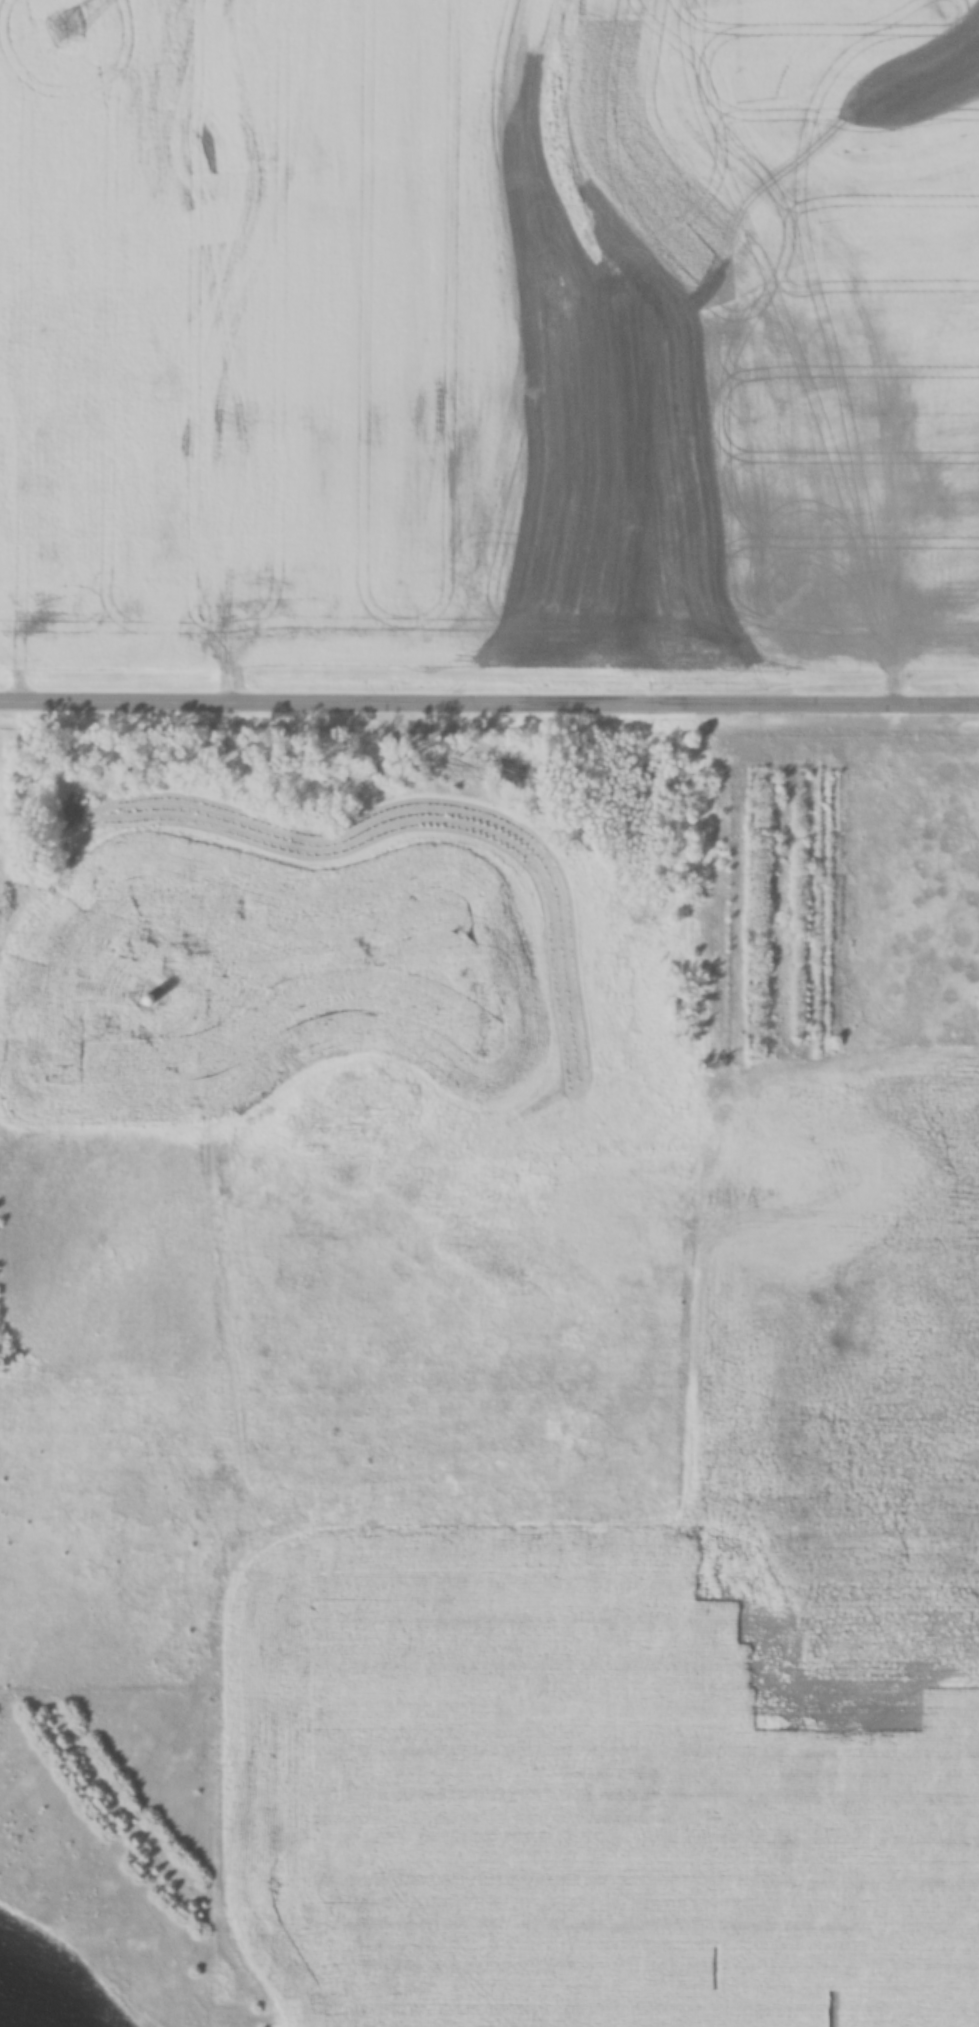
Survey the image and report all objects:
power tower: (65, 25)
road: (489, 701)
building: (271, 974)
building: (12, 994)

